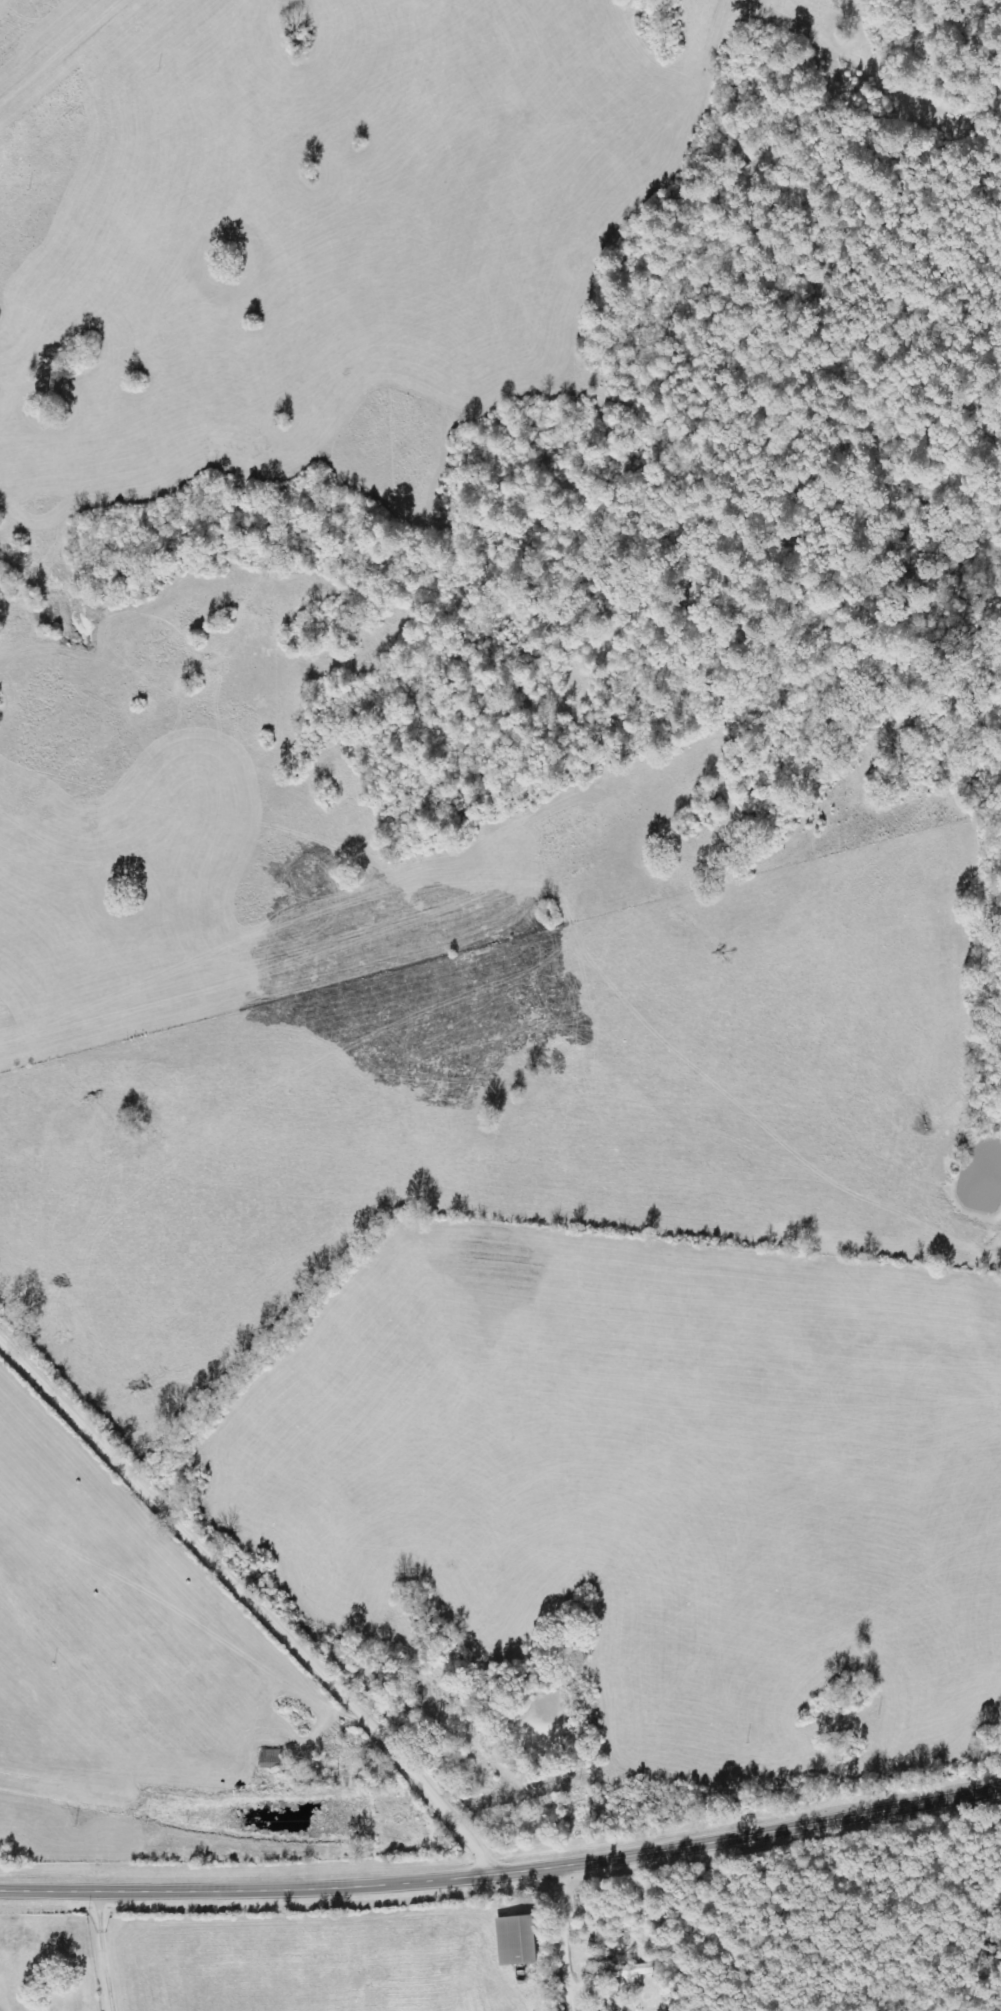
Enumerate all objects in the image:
road: (251, 1625)
road: (503, 1873)
road: (549, 1939)
building: (518, 1940)
building: (631, 1971)

